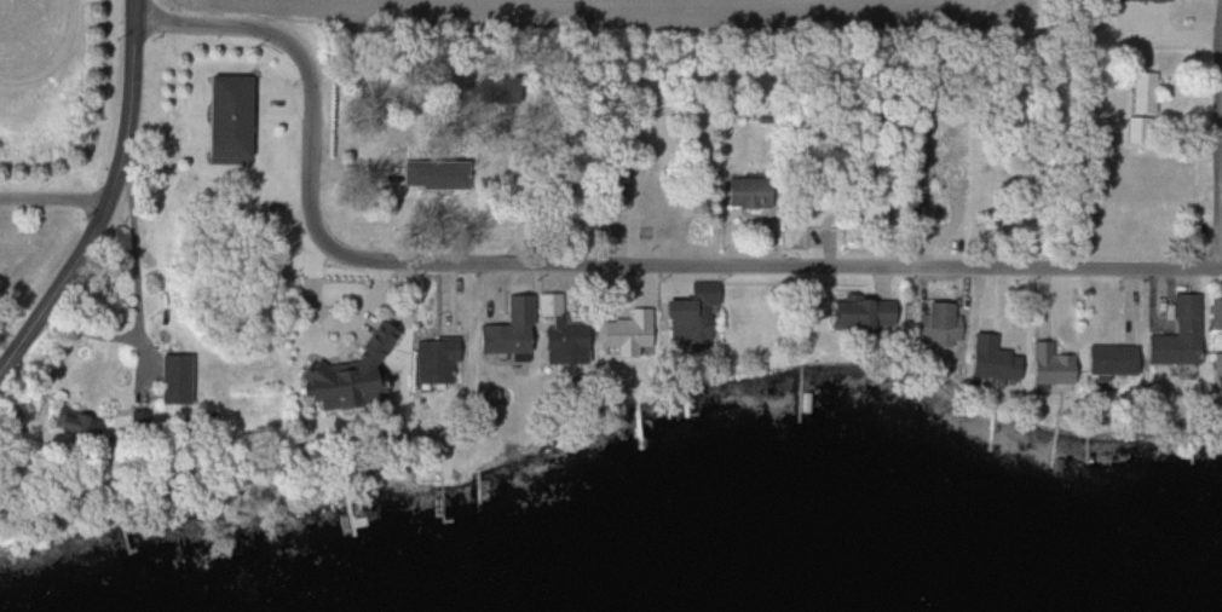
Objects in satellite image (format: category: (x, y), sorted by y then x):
building: (1142, 92)
road: (133, 102)
building: (223, 119)
road: (1220, 160)
building: (433, 174)
building: (613, 192)
road: (57, 201)
road: (587, 265)
road: (137, 285)
road: (59, 291)
building: (688, 312)
building: (855, 312)
building: (936, 323)
building: (624, 333)
building: (1175, 335)
building: (501, 340)
building: (563, 341)
building: (433, 360)
building: (1107, 360)
building: (987, 365)
building: (1045, 365)
building: (342, 374)
building: (1218, 377)
building: (167, 381)
building: (63, 422)

